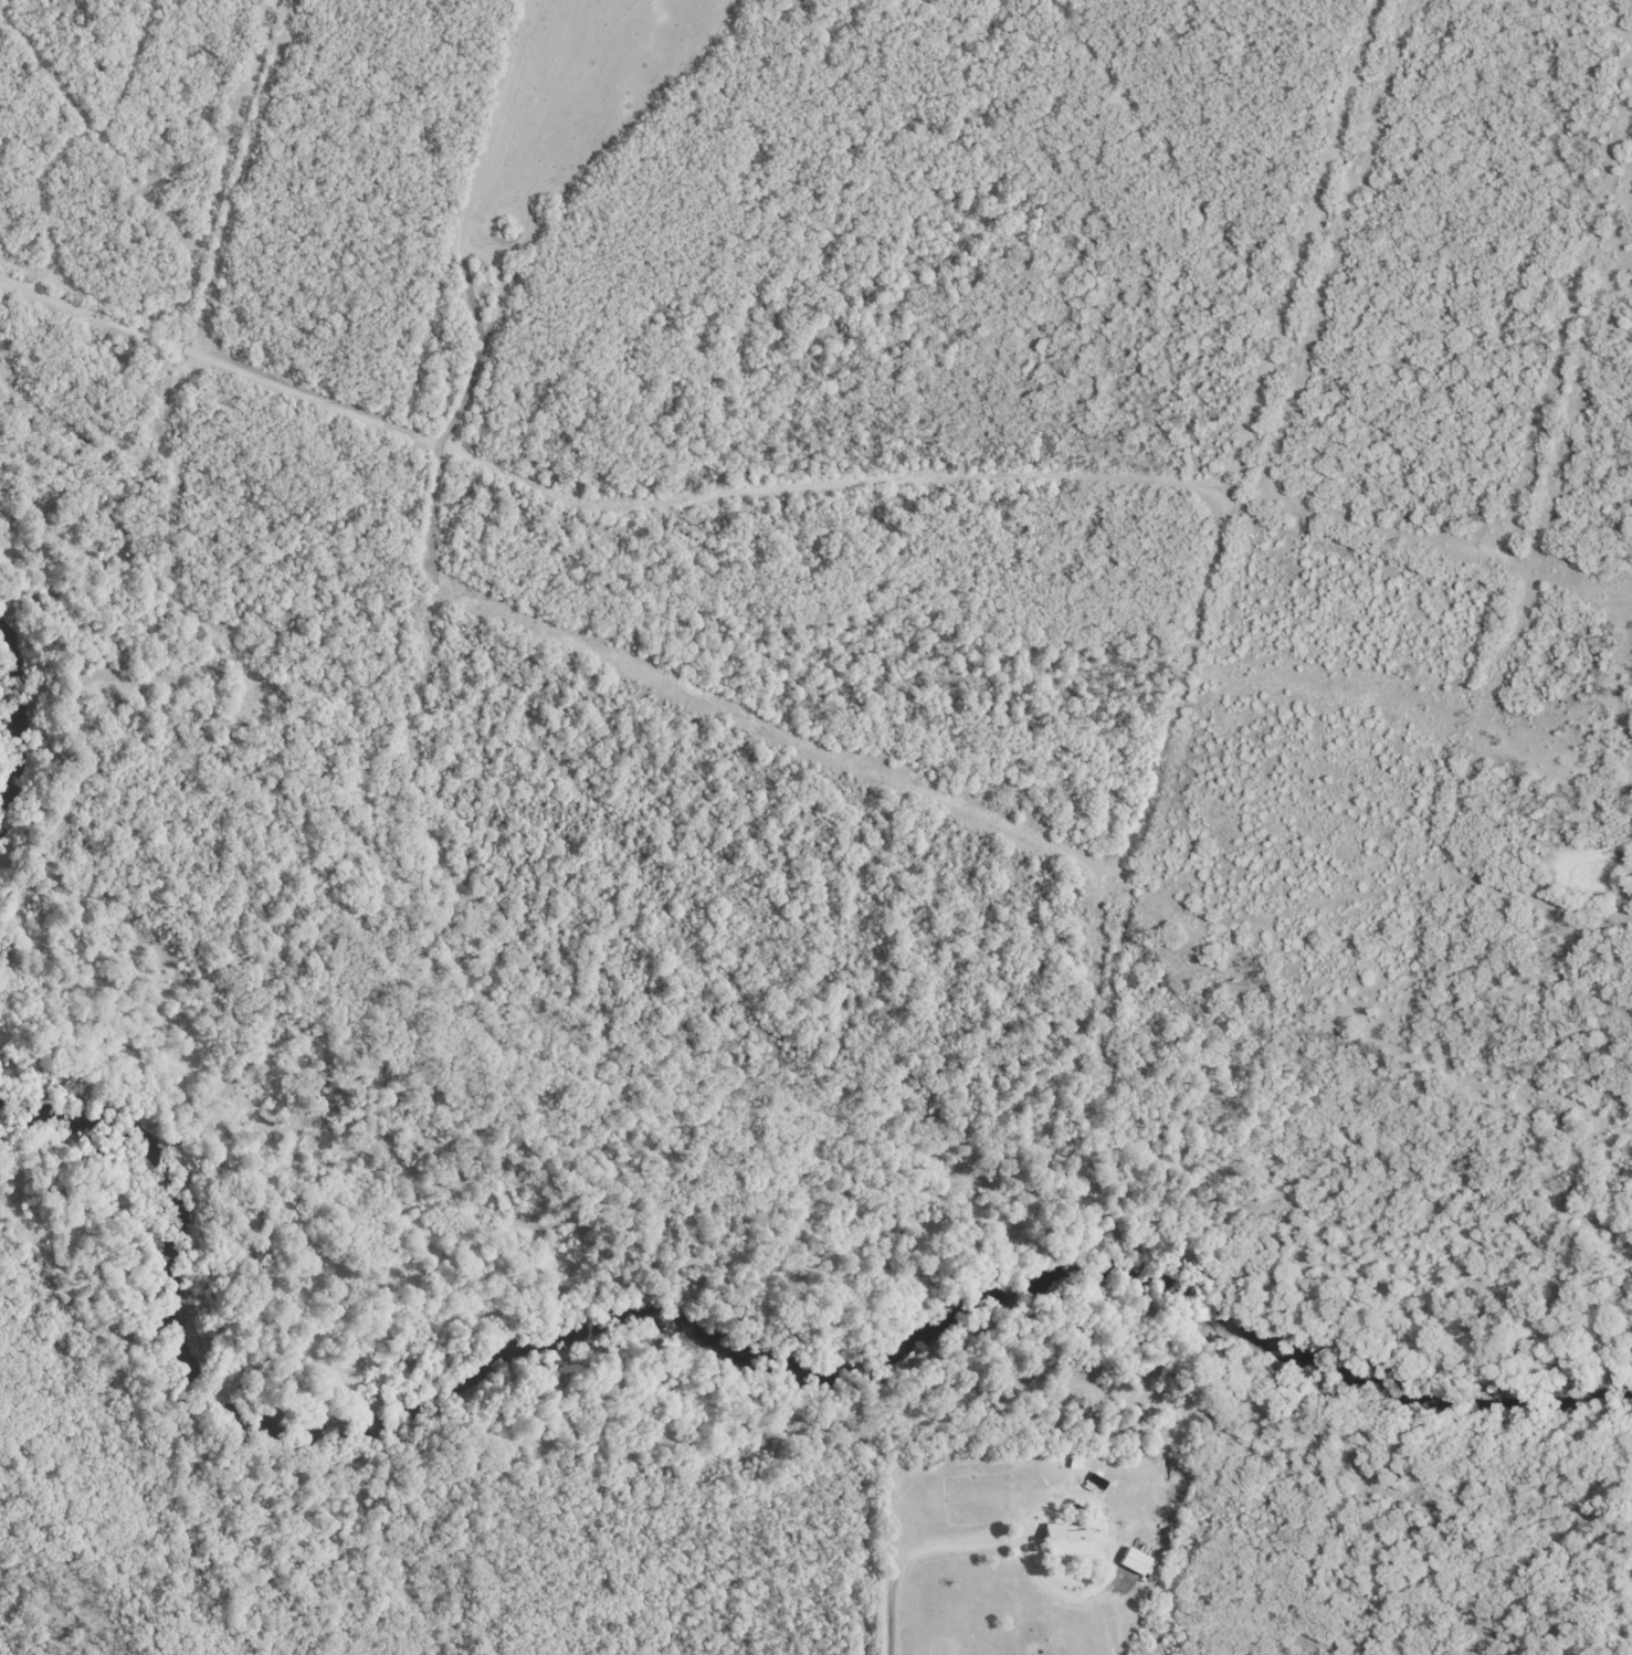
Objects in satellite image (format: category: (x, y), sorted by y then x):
building: (187, 292)
road: (219, 359)
river: (11, 734)
river: (743, 1354)
building: (1063, 1542)
building: (1136, 1560)

